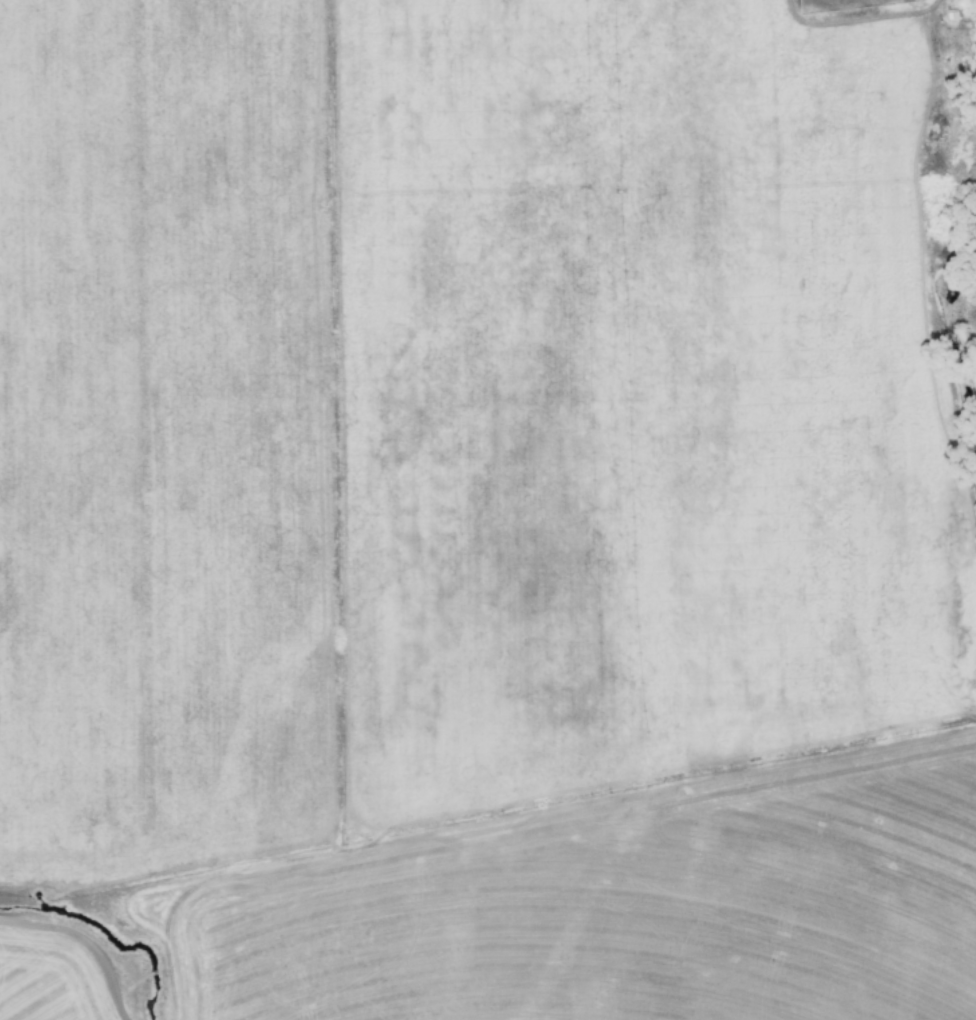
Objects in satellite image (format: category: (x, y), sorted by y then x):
road: (86, 941)

